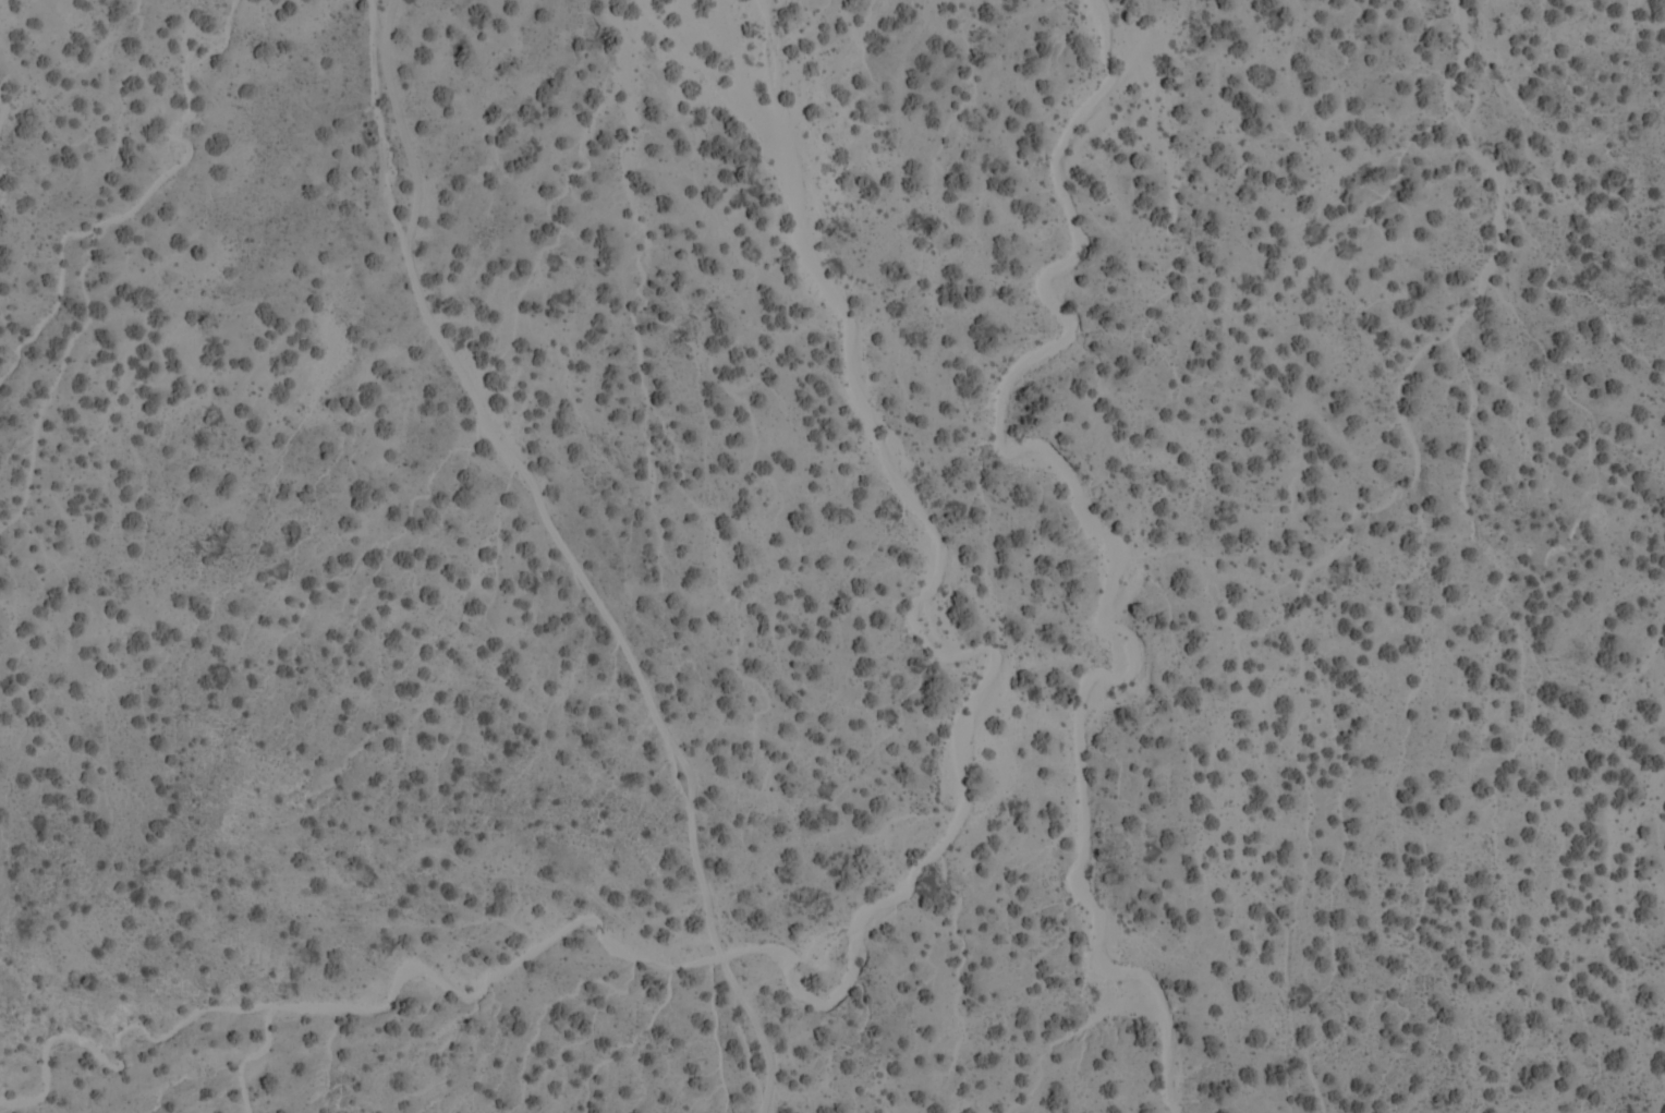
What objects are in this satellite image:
road: (567, 551)

